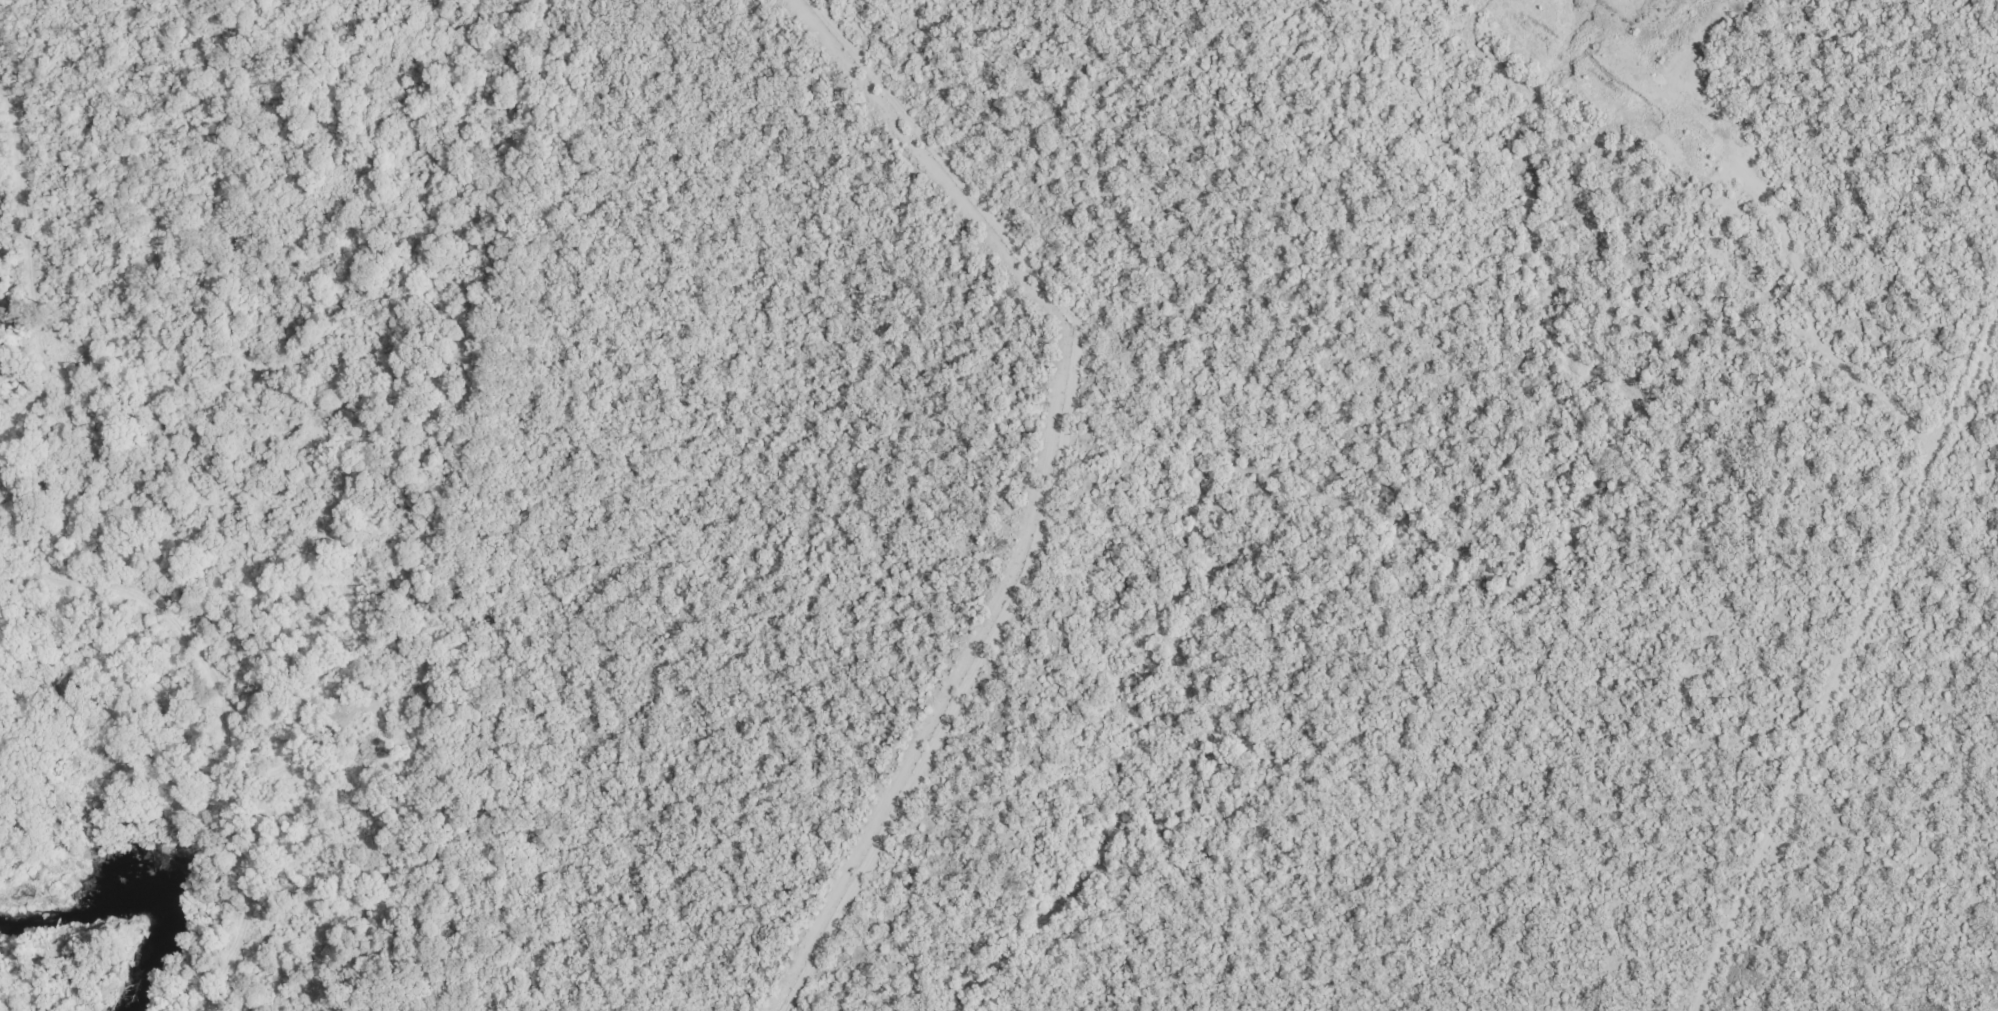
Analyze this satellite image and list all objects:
road: (38, 9)
road: (878, 68)
road: (983, 200)
road: (36, 259)
river: (2, 323)
road: (232, 723)
river: (148, 866)

